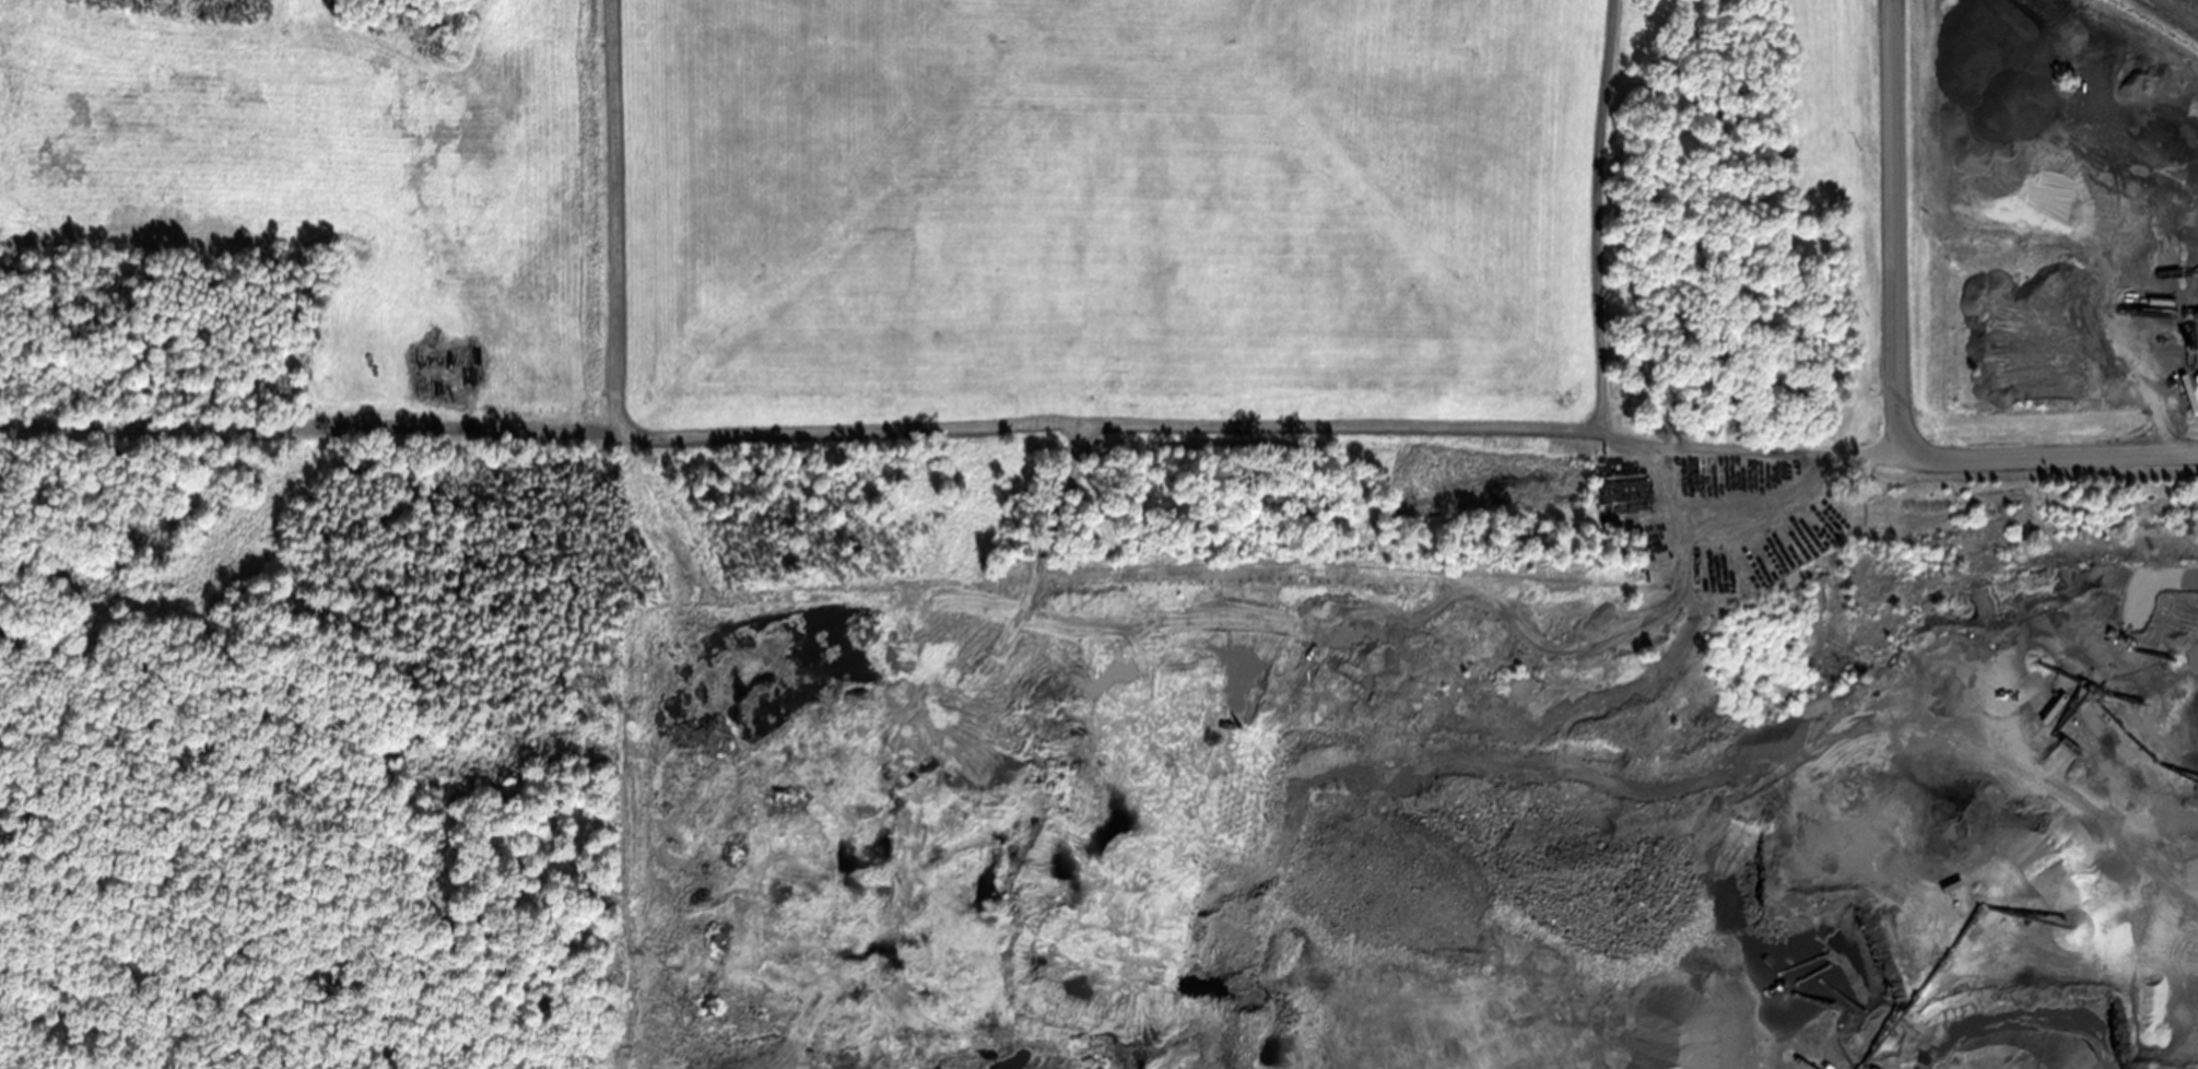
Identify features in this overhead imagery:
road: (1859, 225)
road: (1497, 426)
landfill: (1098, 534)
building: (2085, 651)

